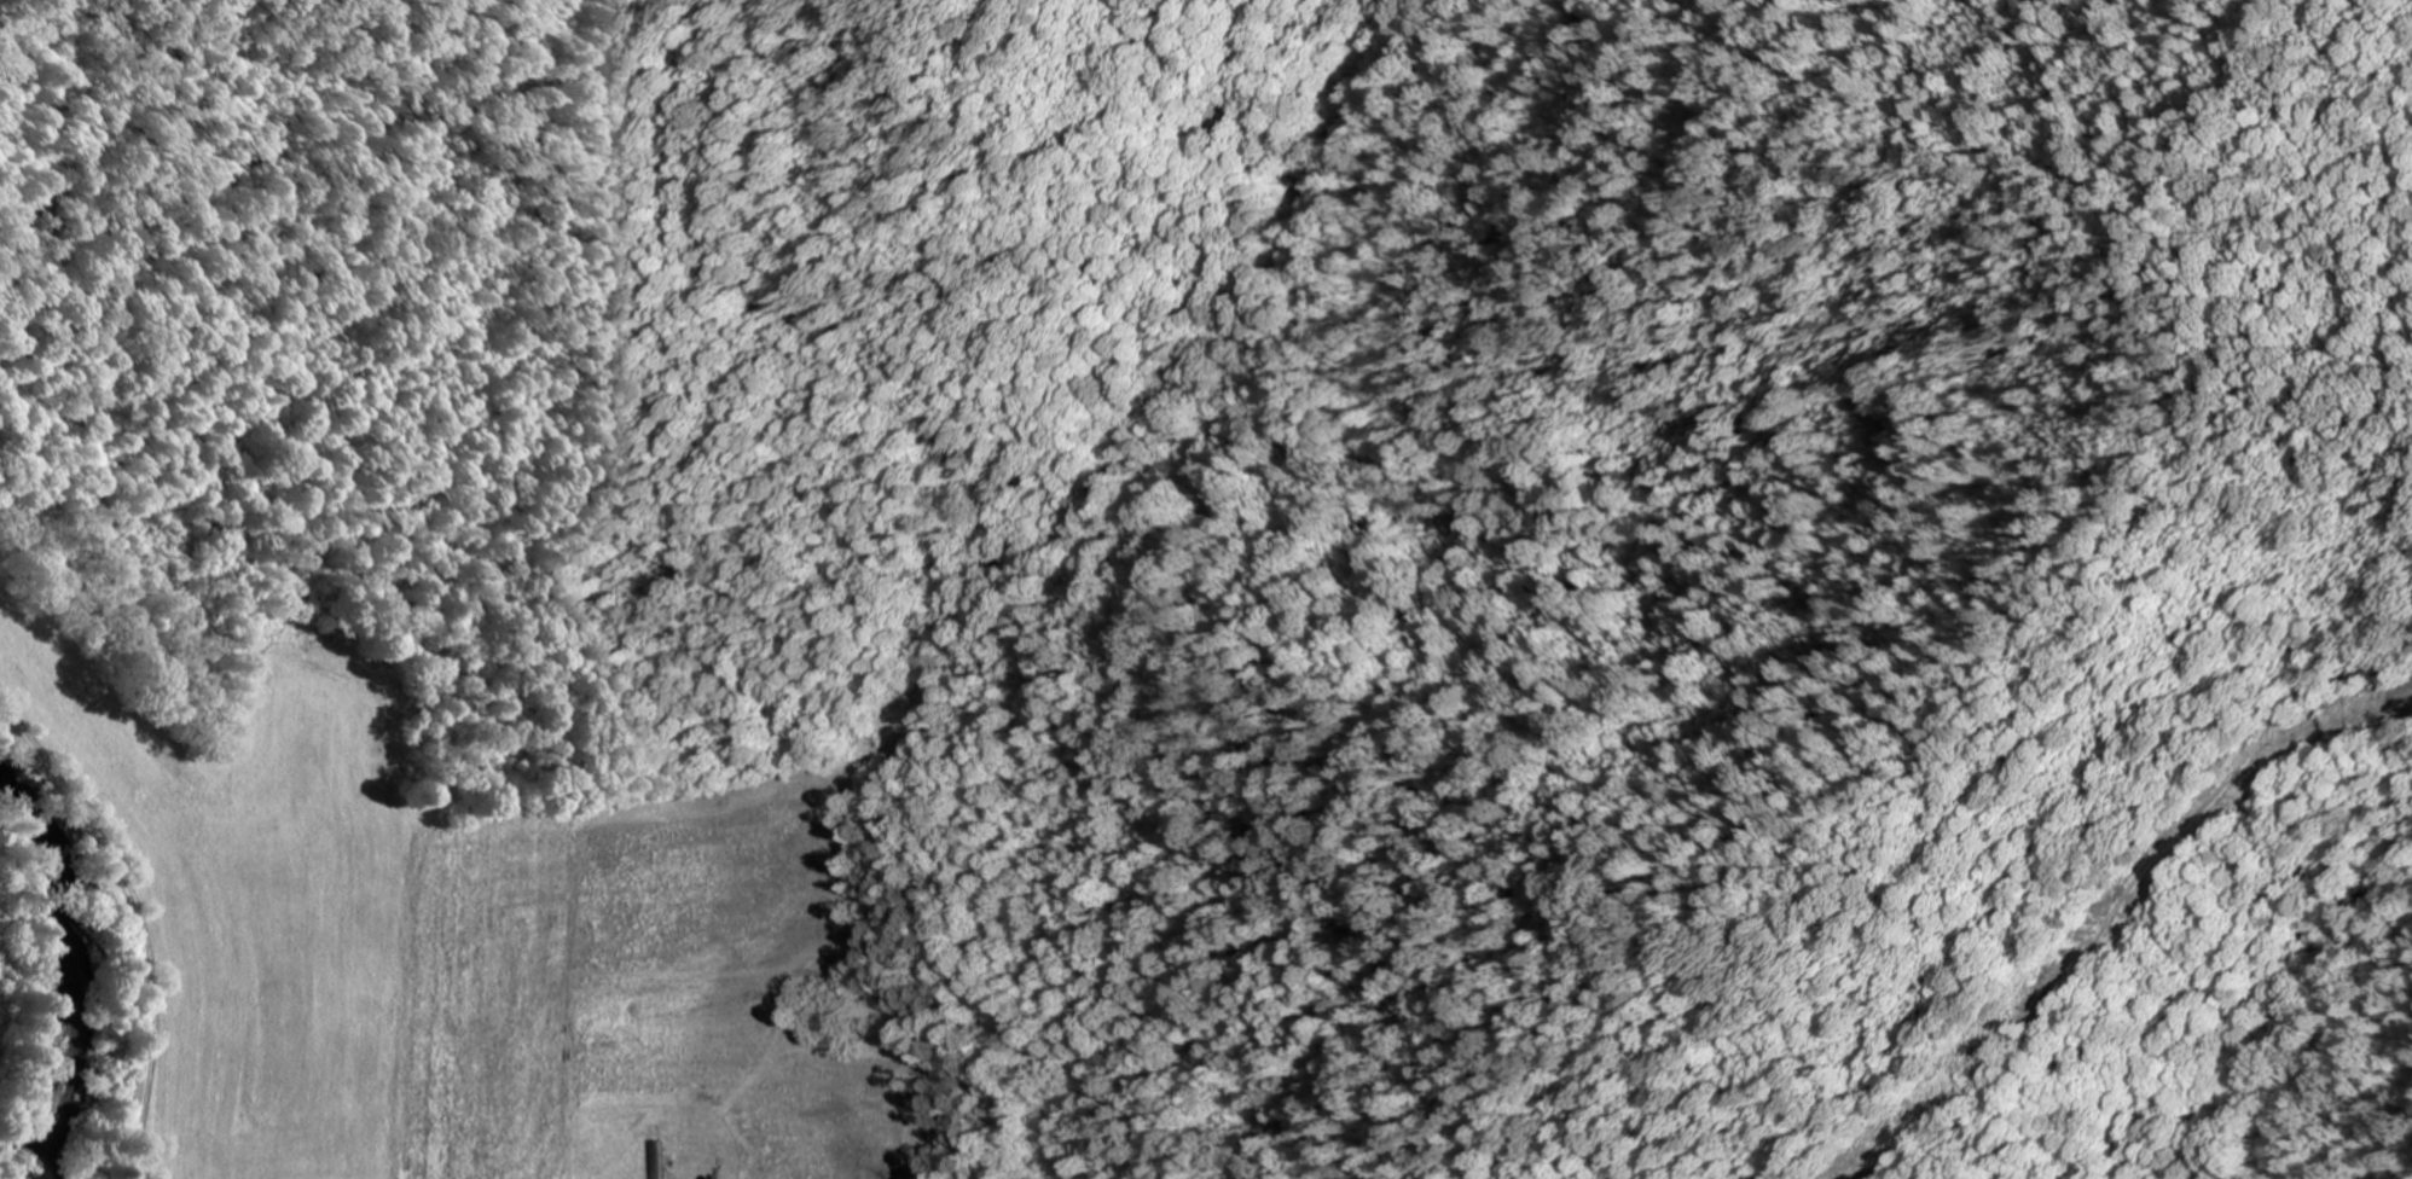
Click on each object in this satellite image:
road: (134, 927)
river: (73, 978)

